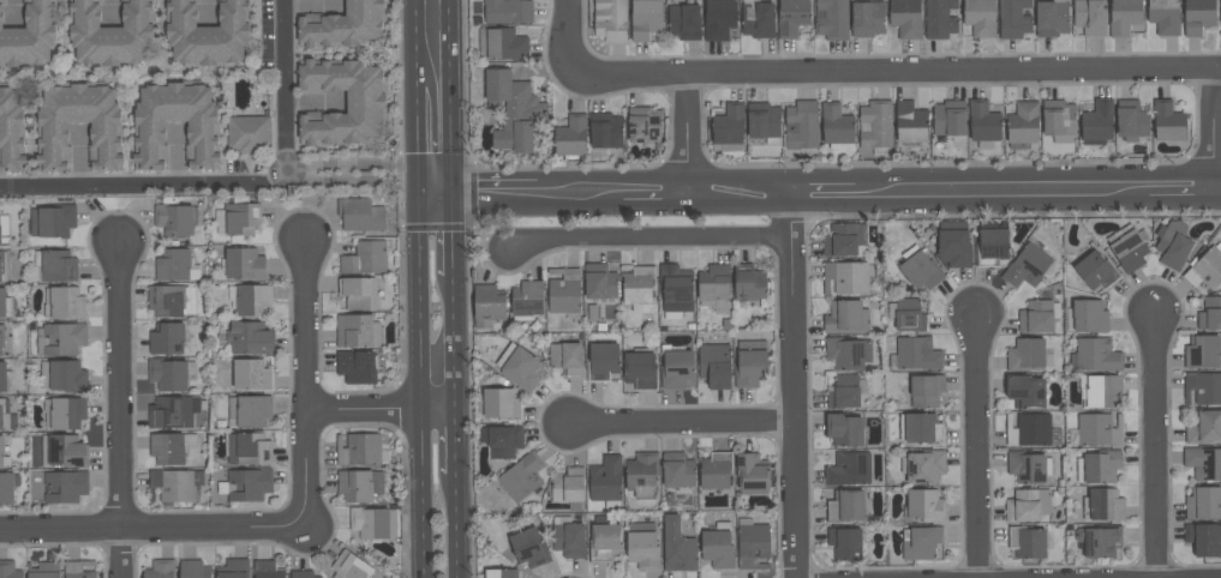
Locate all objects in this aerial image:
building: (1220, 8)
building: (508, 11)
building: (1198, 16)
building: (792, 17)
building: (1090, 17)
building: (1124, 17)
building: (1165, 17)
building: (867, 18)
building: (905, 18)
building: (980, 18)
building: (1013, 18)
building: (1052, 18)
building: (645, 19)
building: (718, 19)
building: (758, 19)
building: (831, 19)
building: (940, 19)
building: (610, 20)
building: (683, 22)
road: (163, 25)
building: (345, 25)
road: (65, 26)
building: (112, 34)
building: (209, 34)
building: (29, 36)
road: (564, 38)
road: (418, 42)
building: (502, 44)
road: (334, 54)
road: (892, 74)
road: (287, 84)
road: (455, 97)
building: (367, 102)
building: (513, 110)
building: (948, 118)
building: (1131, 120)
building: (1167, 120)
building: (1059, 121)
building: (764, 122)
building: (910, 122)
building: (1097, 122)
building: (983, 124)
building: (150, 125)
building: (644, 125)
building: (802, 125)
building: (1023, 125)
building: (53, 126)
building: (836, 126)
building: (729, 127)
building: (876, 127)
road: (419, 128)
building: (605, 131)
road: (1214, 131)
building: (11, 132)
road: (137, 134)
building: (250, 134)
road: (686, 134)
road: (32, 136)
road: (222, 136)
building: (571, 137)
road: (437, 165)
road: (353, 170)
traffic signals: (419, 171)
road: (437, 183)
road: (145, 185)
road: (1219, 188)
road: (1183, 189)
road: (1001, 191)
road: (740, 193)
road: (824, 193)
road: (497, 194)
road: (581, 194)
road: (656, 194)
traffic signals: (456, 195)
building: (360, 215)
building: (175, 218)
building: (238, 218)
building: (0, 219)
building: (52, 221)
building: (0, 235)
road: (456, 235)
building: (844, 240)
road: (650, 242)
building: (1173, 245)
building: (953, 247)
building: (993, 248)
building: (1130, 252)
building: (364, 258)
building: (245, 264)
building: (2, 266)
building: (55, 266)
building: (176, 266)
building: (1028, 266)
building: (1205, 271)
building: (923, 272)
building: (1099, 272)
building: (846, 277)
building: (599, 282)
building: (749, 283)
building: (714, 287)
building: (639, 288)
building: (563, 290)
building: (676, 290)
road: (420, 291)
building: (359, 293)
building: (170, 300)
building: (250, 300)
building: (527, 301)
building: (64, 303)
building: (5, 305)
building: (487, 305)
building: (1210, 315)
building: (911, 317)
building: (846, 318)
building: (1037, 318)
building: (1090, 318)
building: (357, 331)
building: (1, 338)
building: (60, 338)
building: (250, 338)
building: (167, 339)
road: (457, 343)
building: (1204, 353)
building: (848, 354)
building: (917, 354)
building: (1028, 355)
building: (1097, 355)
building: (565, 357)
building: (603, 362)
building: (750, 363)
building: (714, 366)
building: (357, 367)
building: (520, 367)
building: (676, 367)
building: (640, 369)
road: (309, 372)
building: (170, 373)
building: (251, 375)
building: (62, 377)
building: (5, 378)
road: (794, 385)
building: (927, 390)
building: (1203, 390)
building: (1025, 391)
building: (1103, 391)
building: (846, 392)
building: (499, 404)
road: (119, 410)
building: (250, 410)
building: (65, 413)
building: (174, 413)
road: (383, 414)
building: (7, 416)
road: (681, 421)
building: (1203, 427)
building: (922, 429)
building: (844, 431)
building: (1030, 431)
building: (1099, 431)
building: (502, 440)
road: (459, 442)
road: (1155, 445)
road: (977, 446)
building: (167, 448)
building: (247, 448)
building: (359, 450)
building: (64, 451)
building: (2, 453)
building: (1204, 463)
building: (926, 466)
building: (1027, 468)
building: (1102, 468)
building: (677, 470)
building: (850, 470)
building: (716, 471)
building: (753, 474)
building: (642, 475)
building: (521, 476)
building: (606, 481)
building: (246, 484)
building: (176, 486)
building: (359, 486)
building: (7, 487)
building: (65, 487)
building: (568, 487)
road: (423, 495)
building: (1204, 504)
building: (848, 506)
building: (1107, 506)
building: (926, 507)
building: (1024, 507)
building: (372, 523)
road: (459, 525)
road: (160, 530)
building: (568, 537)
building: (1204, 538)
building: (604, 542)
building: (1029, 542)
building: (1099, 542)
building: (845, 543)
building: (753, 544)
building: (923, 544)
building: (642, 546)
building: (677, 546)
building: (718, 546)
building: (529, 548)
building: (351, 566)
building: (233, 568)
building: (10, 570)
building: (43, 570)
building: (78, 570)
building: (160, 570)
building: (196, 570)
building: (267, 570)
building: (501, 573)
building: (301, 574)

